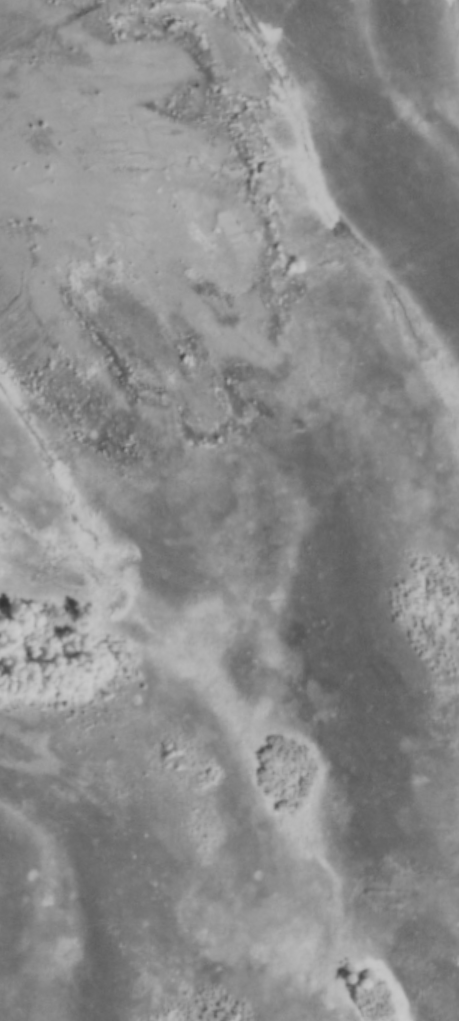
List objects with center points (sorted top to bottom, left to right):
quarry: (153, 260)
quarry: (61, 772)

